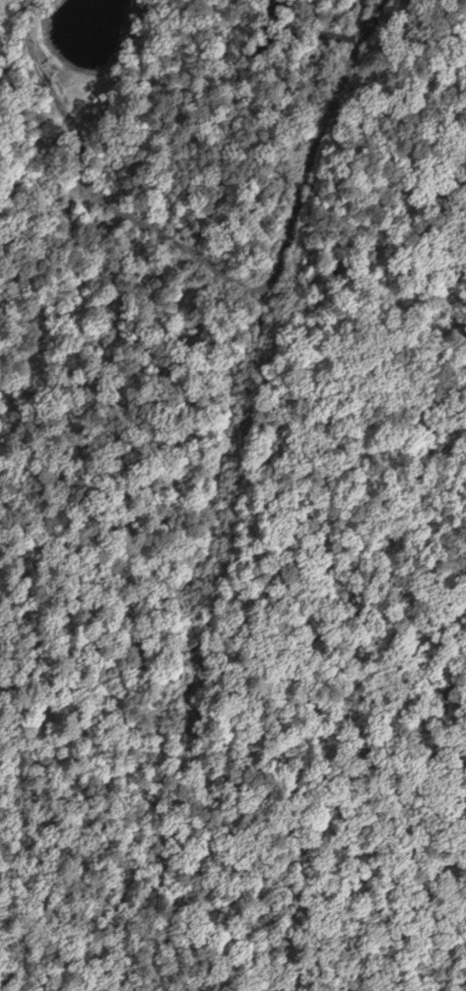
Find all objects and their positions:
road: (369, 18)

